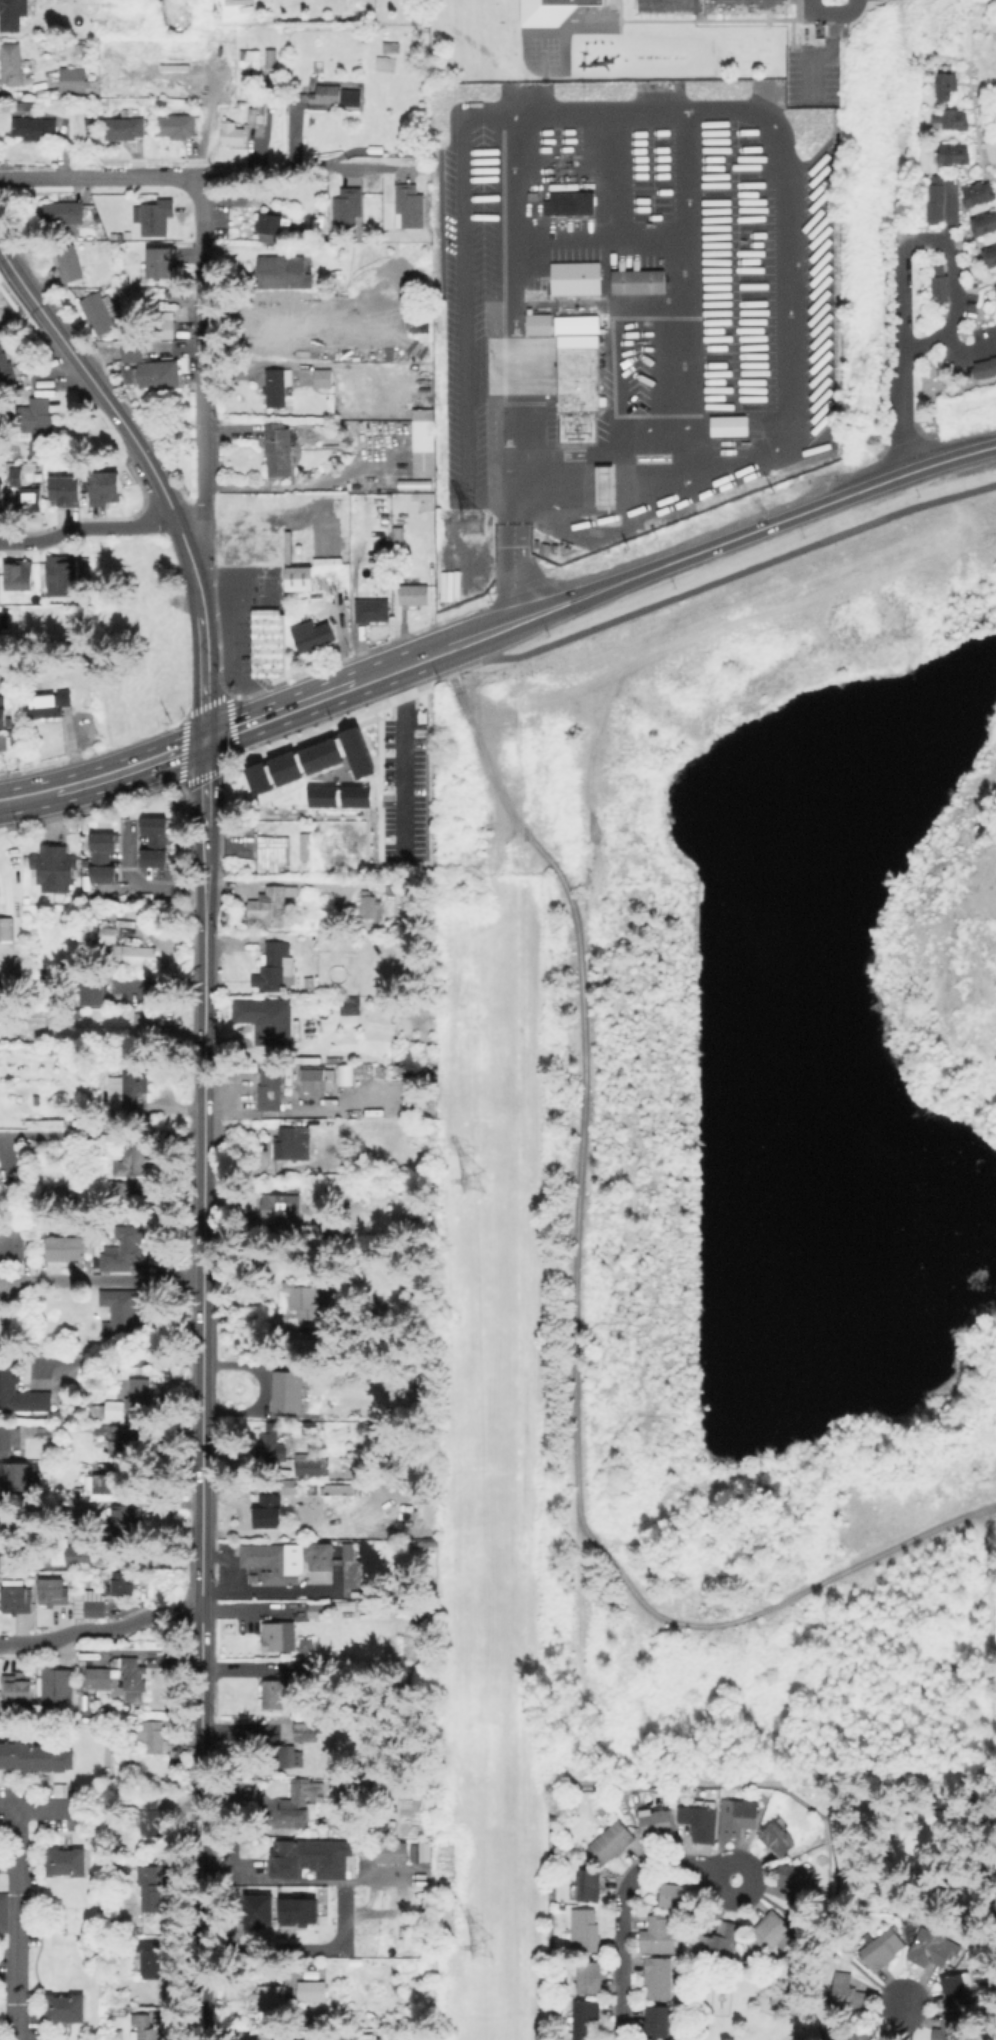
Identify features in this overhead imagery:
park: (954, 1)
building: (112, 4)
building: (708, 5)
building: (547, 10)
road: (829, 10)
building: (12, 12)
road: (966, 29)
building: (392, 46)
road: (821, 55)
building: (268, 57)
building: (247, 59)
building: (11, 63)
building: (321, 63)
building: (73, 79)
building: (943, 85)
building: (337, 97)
building: (254, 112)
road: (893, 118)
building: (945, 119)
building: (89, 121)
building: (172, 125)
road: (973, 125)
building: (35, 127)
building: (121, 127)
building: (229, 133)
building: (951, 152)
road: (301, 165)
road: (100, 177)
building: (974, 193)
building: (933, 198)
building: (567, 202)
building: (409, 206)
building: (346, 208)
building: (63, 213)
building: (153, 216)
road: (786, 220)
building: (982, 222)
building: (272, 225)
road: (919, 236)
building: (988, 255)
building: (159, 261)
building: (65, 263)
building: (281, 271)
building: (573, 277)
building: (420, 280)
building: (635, 281)
road: (975, 285)
building: (937, 287)
building: (994, 290)
road: (14, 301)
road: (512, 308)
building: (99, 310)
building: (282, 320)
building: (536, 323)
building: (162, 324)
road: (461, 325)
road: (68, 349)
road: (962, 350)
building: (133, 351)
building: (425, 354)
road: (201, 363)
building: (5, 365)
building: (983, 367)
building: (160, 373)
building: (576, 375)
building: (323, 376)
building: (278, 384)
building: (426, 401)
road: (899, 414)
building: (37, 423)
building: (727, 425)
building: (425, 442)
building: (278, 447)
building: (15, 476)
road: (157, 480)
building: (602, 484)
building: (428, 485)
building: (104, 487)
building: (66, 491)
building: (2, 499)
building: (30, 499)
building: (428, 504)
road: (562, 513)
power tower: (477, 519)
road: (86, 527)
building: (399, 536)
road: (184, 543)
road: (514, 564)
building: (63, 572)
road: (643, 573)
road: (730, 575)
building: (20, 576)
building: (299, 577)
building: (414, 593)
building: (373, 609)
building: (4, 619)
building: (313, 634)
building: (269, 642)
road: (203, 656)
road: (230, 656)
building: (1, 679)
building: (49, 703)
building: (2, 712)
road: (248, 723)
traffic signals: (204, 741)
building: (0, 747)
road: (402, 764)
road: (113, 775)
building: (268, 800)
road: (10, 801)
road: (204, 817)
building: (156, 842)
building: (302, 845)
building: (272, 851)
building: (104, 859)
building: (55, 868)
road: (272, 880)
road: (144, 885)
building: (267, 905)
building: (368, 908)
building: (7, 931)
building: (106, 933)
building: (138, 957)
building: (276, 965)
building: (90, 992)
building: (349, 1005)
building: (37, 1016)
building: (149, 1020)
building: (266, 1020)
building: (331, 1057)
building: (354, 1070)
building: (315, 1079)
building: (128, 1089)
building: (272, 1090)
road: (103, 1136)
building: (294, 1143)
building: (130, 1169)
power tower: (474, 1179)
building: (295, 1187)
building: (57, 1195)
building: (278, 1208)
building: (407, 1215)
building: (12, 1243)
building: (67, 1247)
building: (125, 1248)
road: (101, 1277)
building: (305, 1297)
building: (123, 1315)
building: (290, 1391)
building: (20, 1392)
building: (131, 1399)
road: (201, 1400)
building: (56, 1418)
building: (308, 1426)
building: (46, 1432)
building: (6, 1440)
building: (120, 1442)
building: (270, 1442)
building: (356, 1452)
building: (308, 1464)
building: (52, 1468)
building: (16, 1476)
building: (99, 1482)
building: (290, 1485)
building: (341, 1489)
building: (272, 1508)
building: (7, 1515)
building: (79, 1515)
building: (402, 1517)
building: (120, 1524)
building: (342, 1550)
building: (71, 1552)
building: (317, 1555)
building: (272, 1561)
building: (0, 1563)
building: (123, 1583)
building: (54, 1594)
building: (19, 1600)
building: (91, 1604)
building: (407, 1606)
building: (341, 1607)
building: (320, 1608)
building: (280, 1628)
road: (100, 1629)
building: (308, 1668)
building: (99, 1677)
building: (134, 1678)
building: (58, 1688)
building: (17, 1689)
building: (274, 1693)
building: (306, 1731)
building: (154, 1733)
building: (36, 1755)
building: (285, 1755)
building: (372, 1772)
building: (61, 1789)
building: (299, 1797)
road: (42, 1807)
road: (7, 1808)
building: (737, 1816)
building: (151, 1817)
building: (700, 1821)
building: (656, 1822)
building: (385, 1823)
building: (778, 1837)
building: (612, 1841)
building: (353, 1846)
building: (366, 1849)
building: (393, 1853)
building: (416, 1853)
building: (67, 1861)
building: (286, 1861)
road: (7, 1864)
building: (796, 1881)
building: (589, 1885)
building: (150, 1887)
building: (677, 1895)
road: (620, 1900)
building: (5, 1912)
road: (16, 1924)
building: (585, 1930)
building: (768, 1932)
building: (661, 1933)
building: (721, 1939)
power tower: (485, 1943)
building: (933, 1946)
road: (294, 1948)
building: (882, 1949)
building: (150, 1958)
building: (334, 1968)
road: (198, 1972)
building: (590, 1977)
building: (659, 1977)
building: (957, 1989)
building: (313, 1992)
building: (847, 1994)
building: (269, 1997)
building: (66, 2007)
building: (3, 2008)
building: (586, 2019)
road: (901, 2019)
building: (657, 2021)
building: (146, 2027)
building: (950, 2027)
building: (859, 2031)

